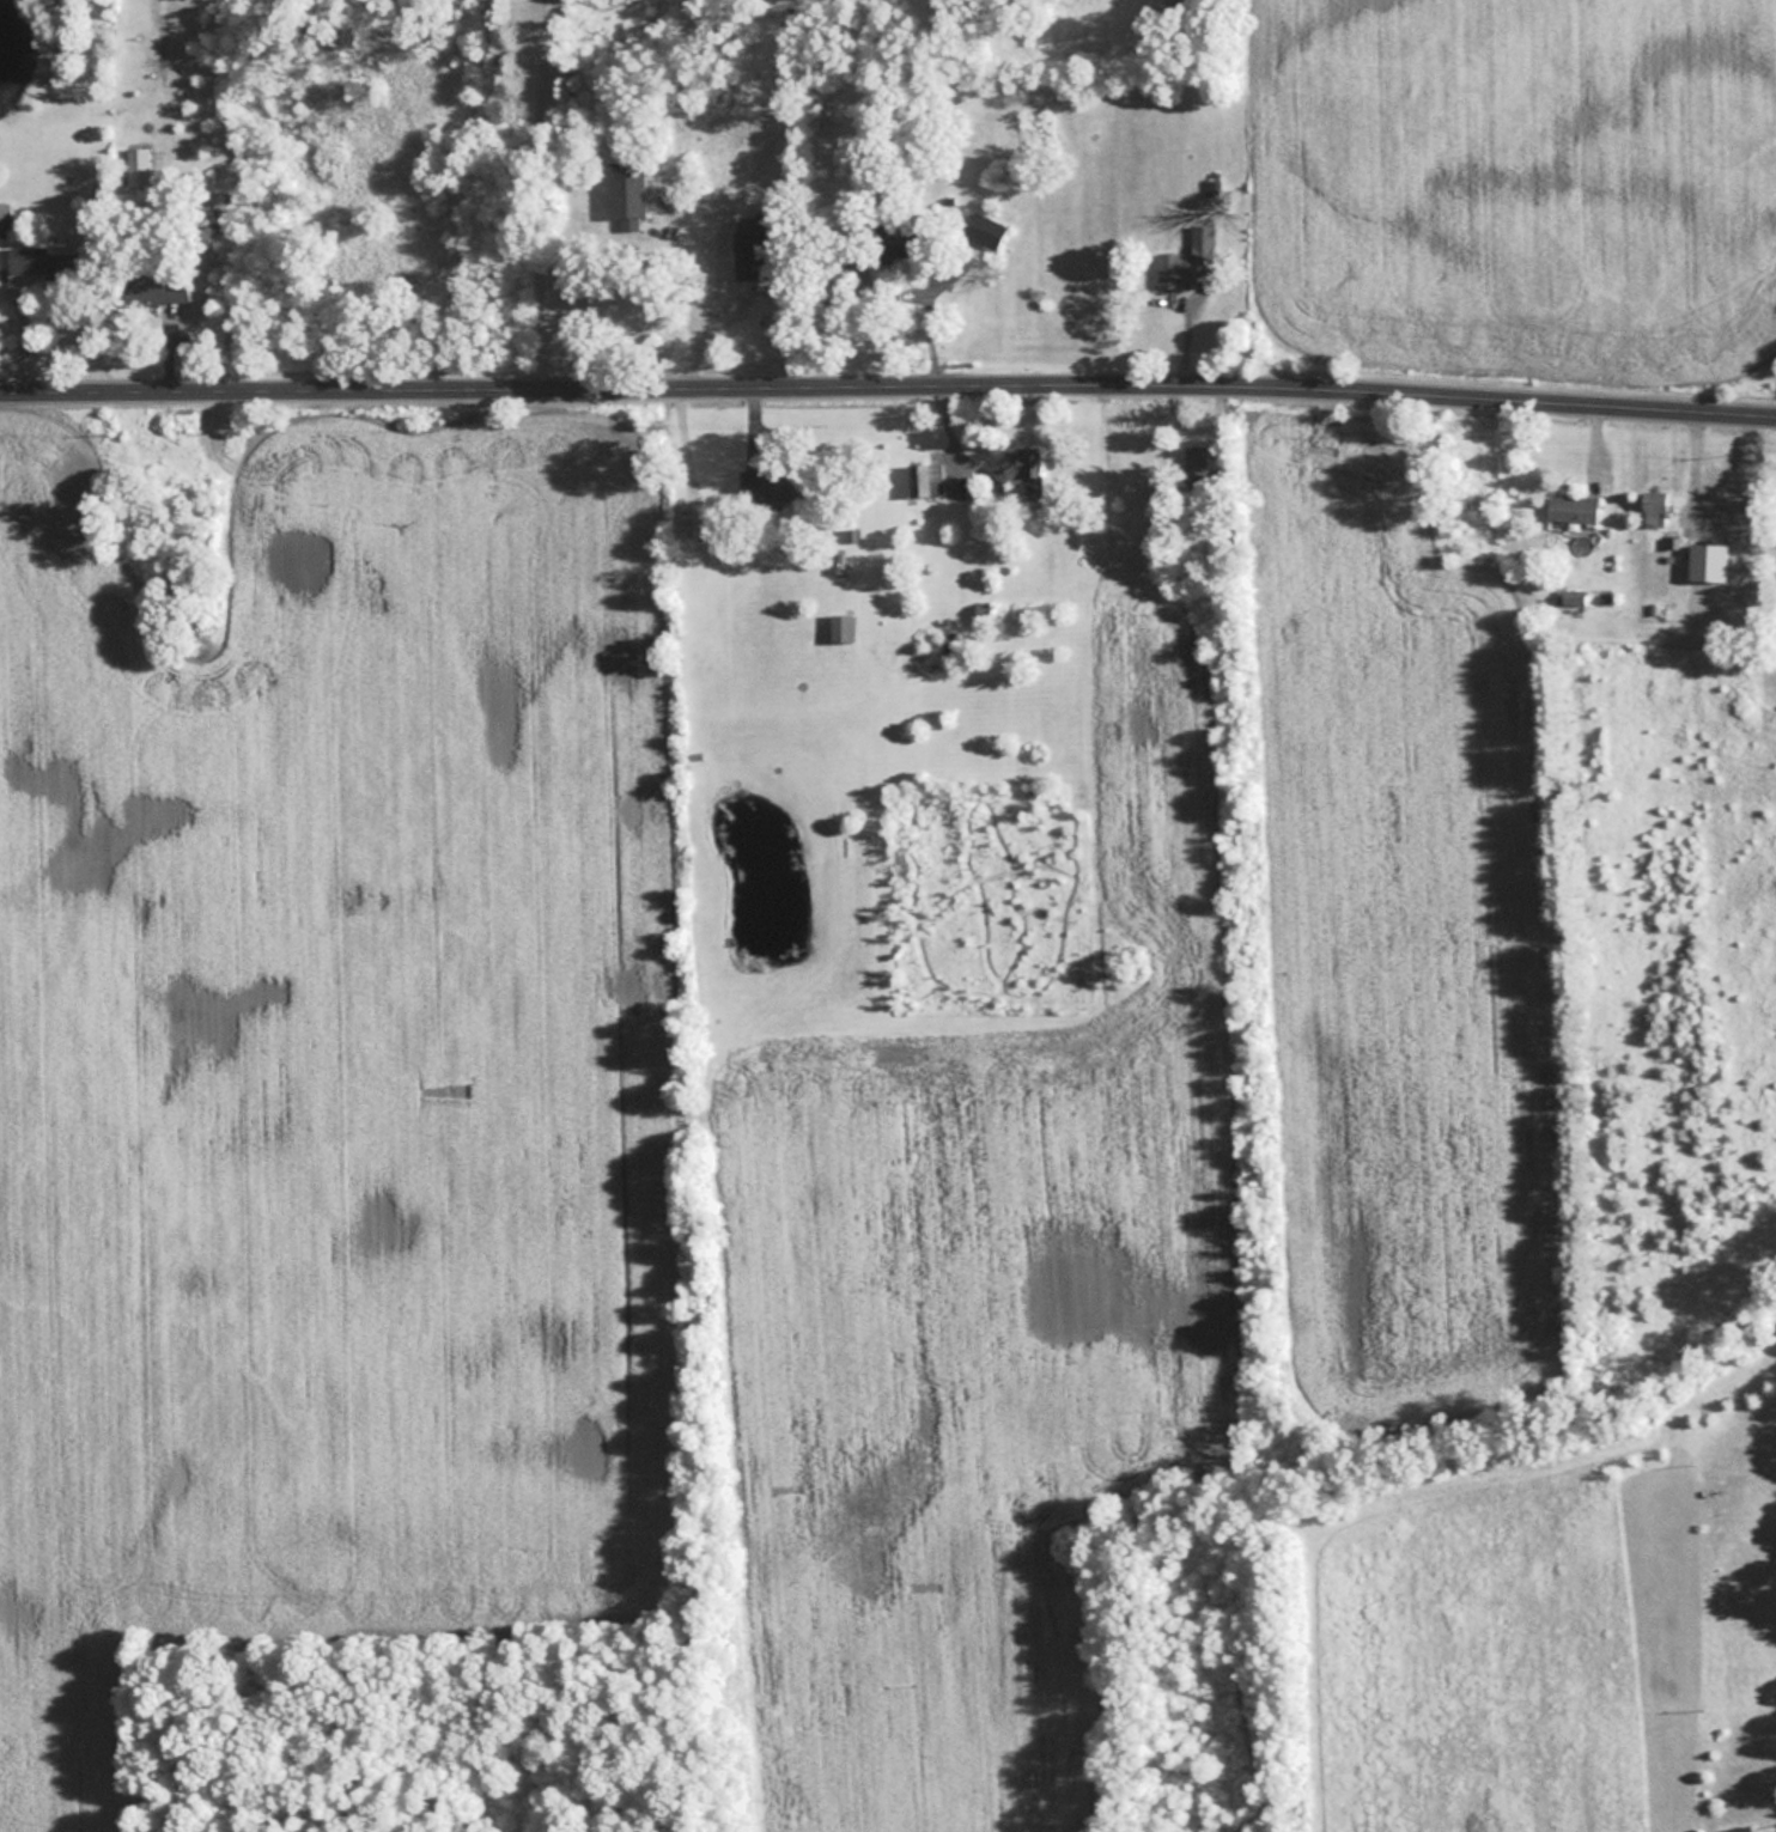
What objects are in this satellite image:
building: (140, 169)
road: (537, 189)
building: (627, 191)
building: (5, 219)
building: (985, 230)
building: (898, 243)
building: (1186, 260)
building: (44, 261)
road: (687, 261)
building: (742, 282)
building: (140, 286)
road: (888, 379)
building: (1196, 467)
building: (1024, 470)
building: (926, 479)
building: (772, 485)
building: (1573, 507)
building: (1655, 509)
building: (694, 518)
building: (1708, 561)
building: (841, 628)
building: (949, 647)
building: (1771, 1589)
building: (1756, 1828)

